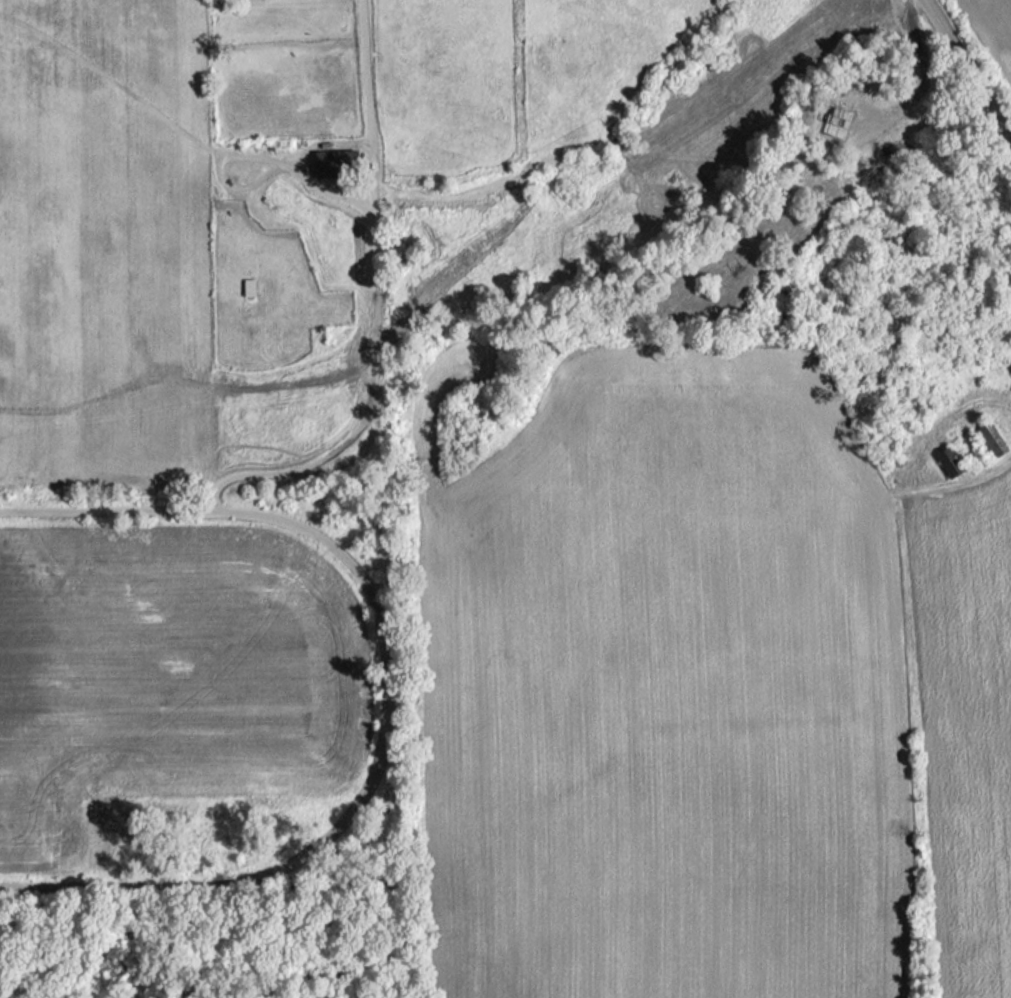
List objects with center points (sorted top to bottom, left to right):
road: (366, 63)
road: (970, 68)
building: (336, 154)
building: (251, 279)
building: (993, 430)
building: (951, 453)

